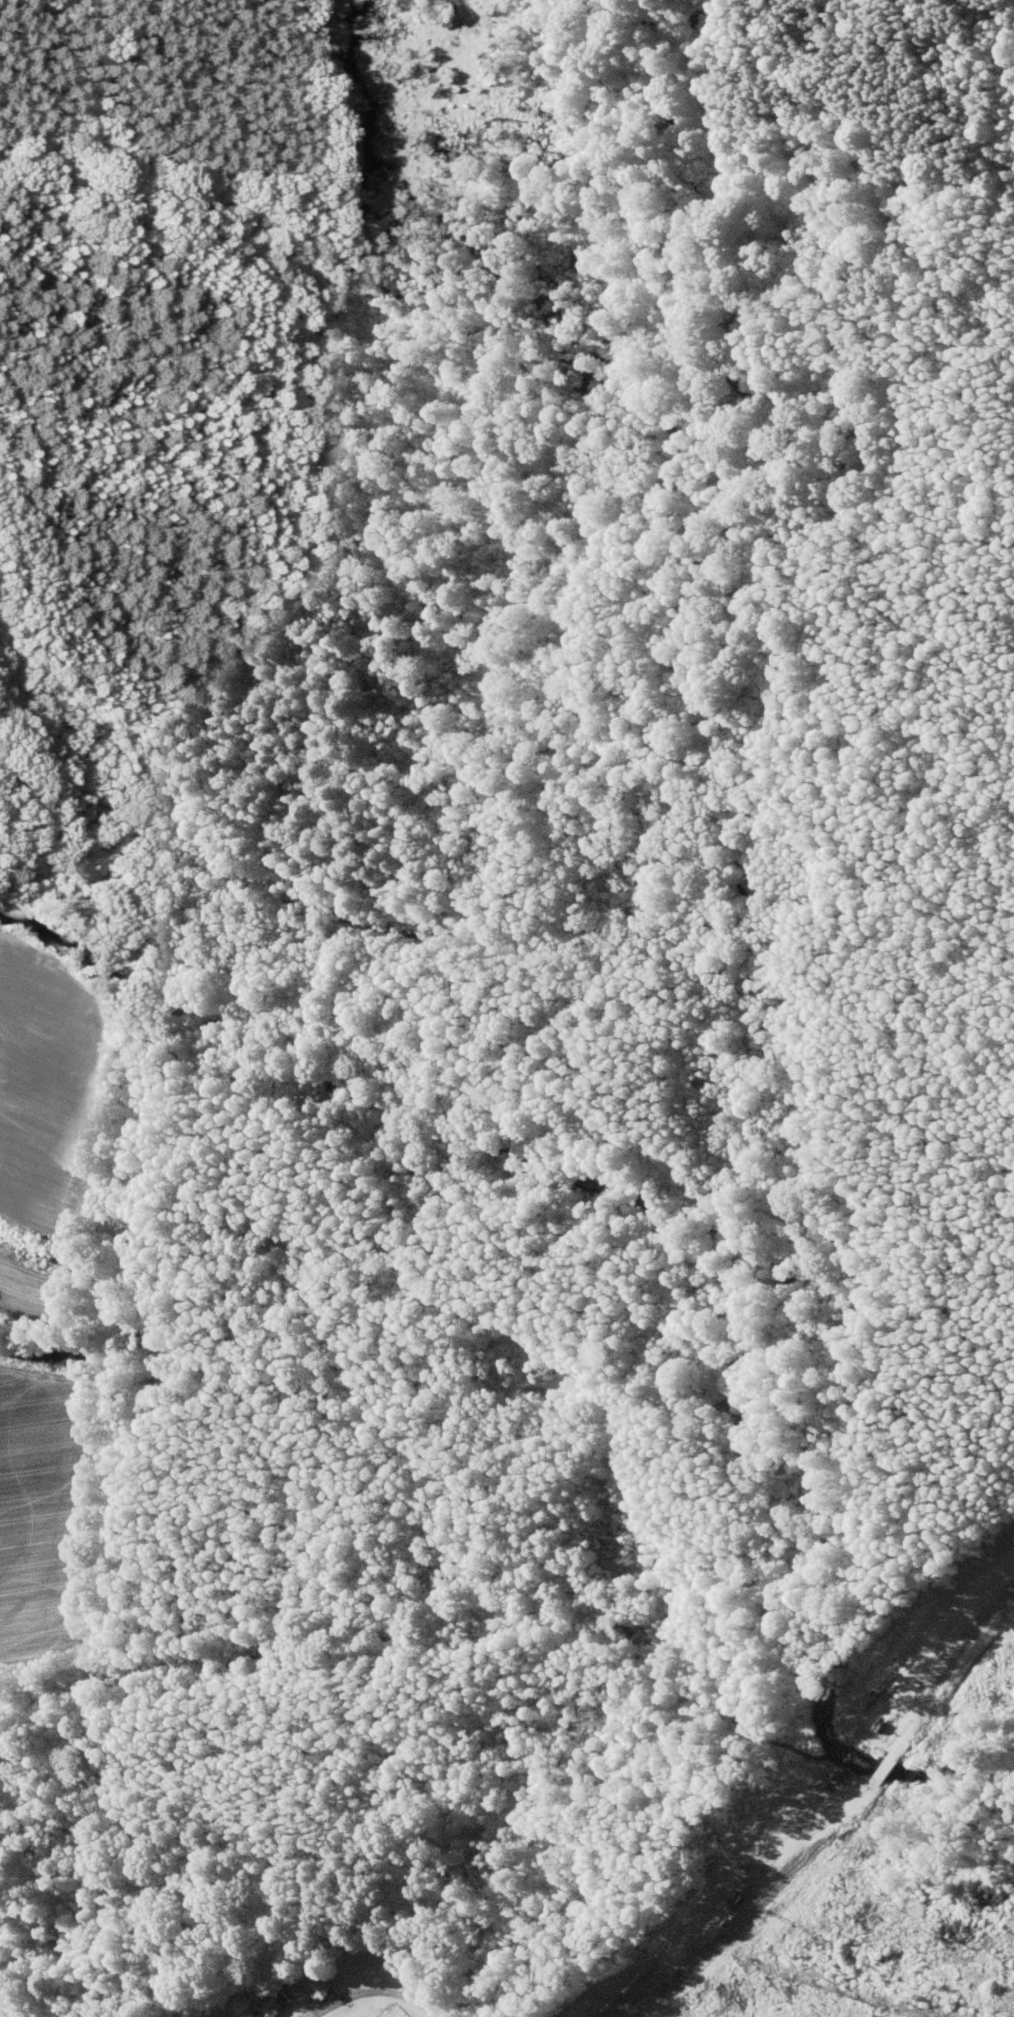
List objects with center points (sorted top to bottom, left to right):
road: (796, 1806)
road: (397, 1977)
building: (315, 1985)
building: (275, 2005)
road: (2, 2015)

